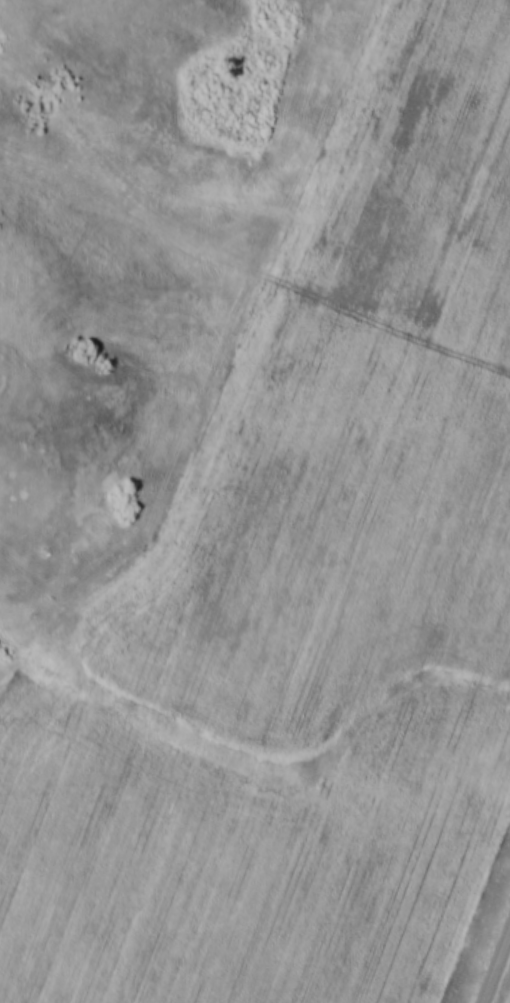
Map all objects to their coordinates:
road: (249, 266)
road: (497, 968)

